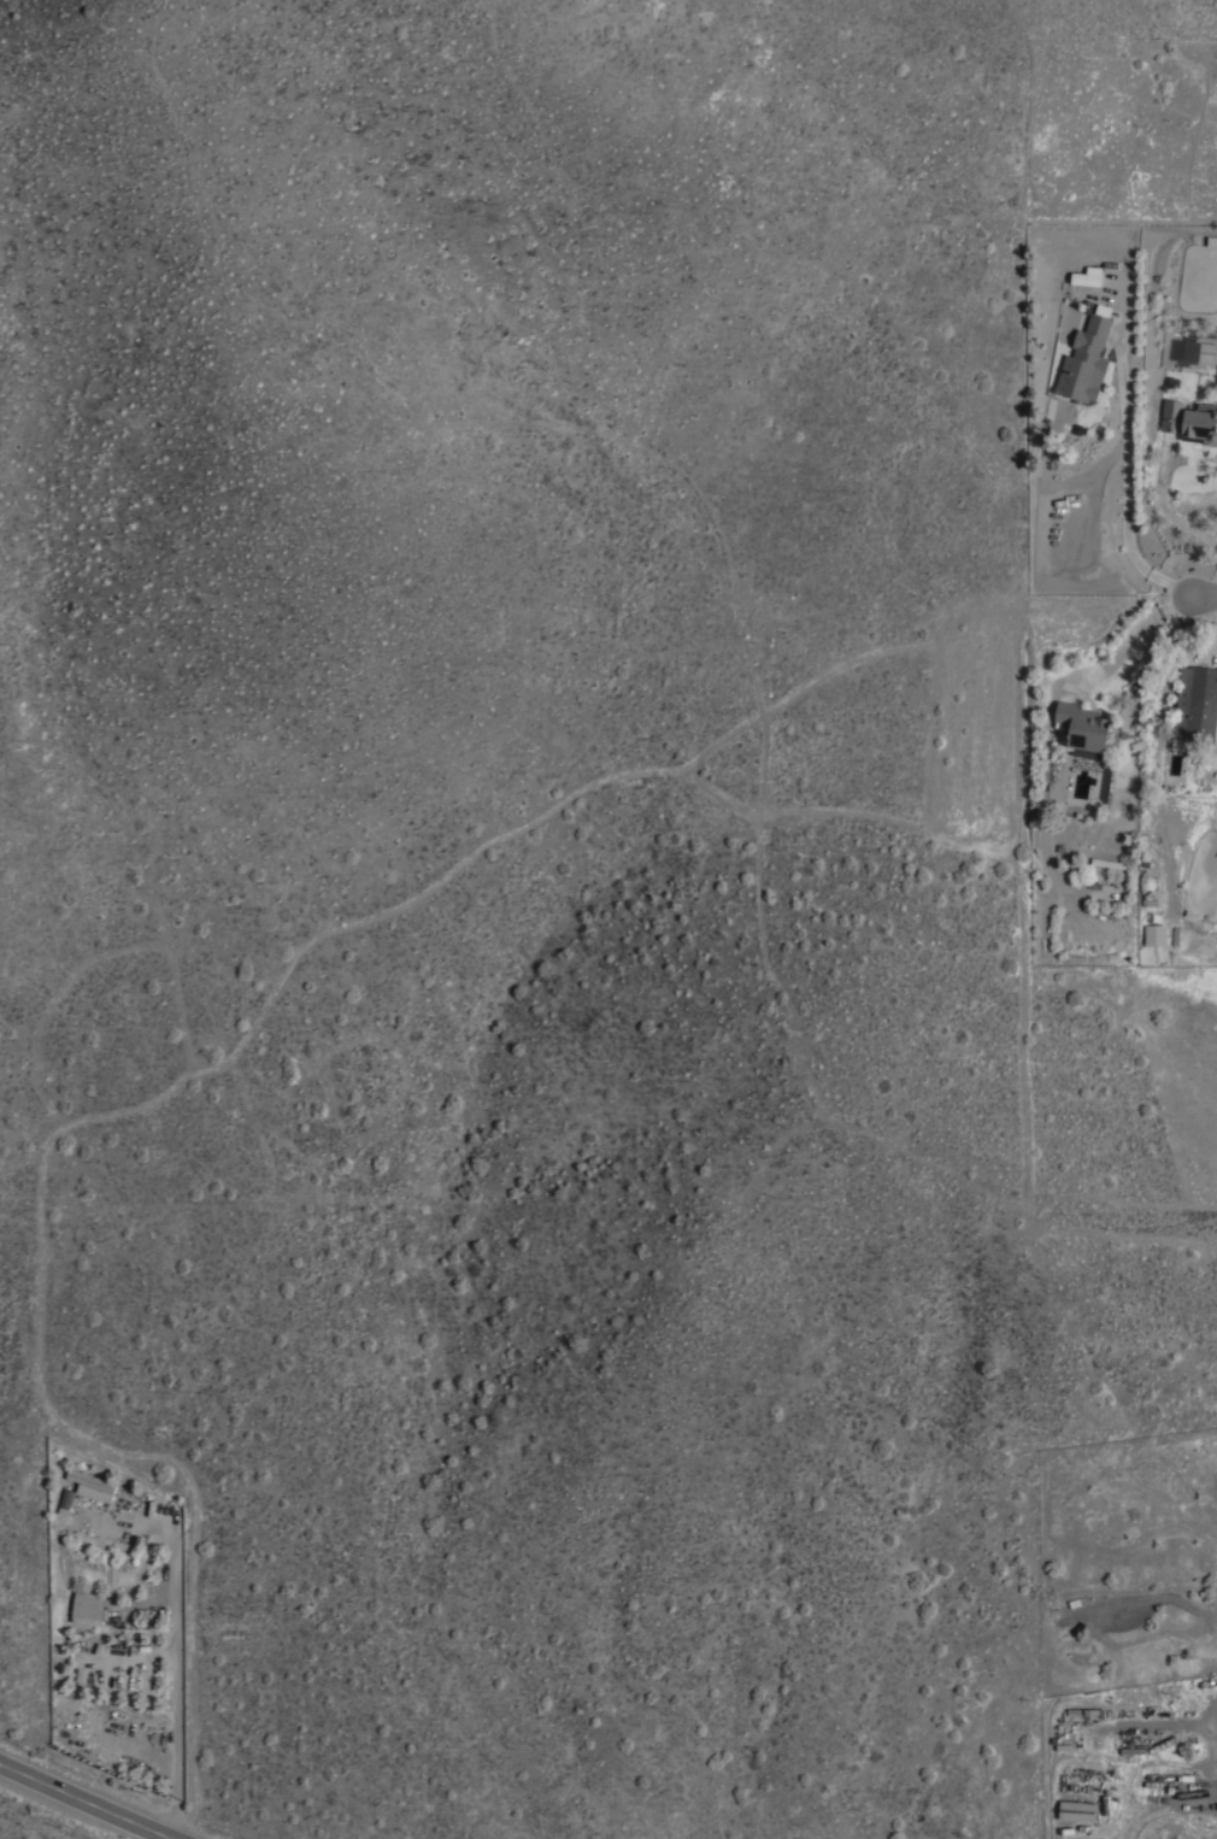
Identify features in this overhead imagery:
building: (1084, 278)
building: (1184, 349)
building: (1084, 362)
building: (1190, 421)
road: (1130, 484)
road: (1163, 510)
road: (1215, 587)
road: (1206, 597)
road: (1133, 640)
building: (1197, 704)
building: (1082, 729)
building: (1107, 863)
building: (1154, 934)
building: (90, 1483)
building: (65, 1497)
building: (88, 1609)
road: (180, 1645)
road: (83, 1808)
building: (1075, 1810)

